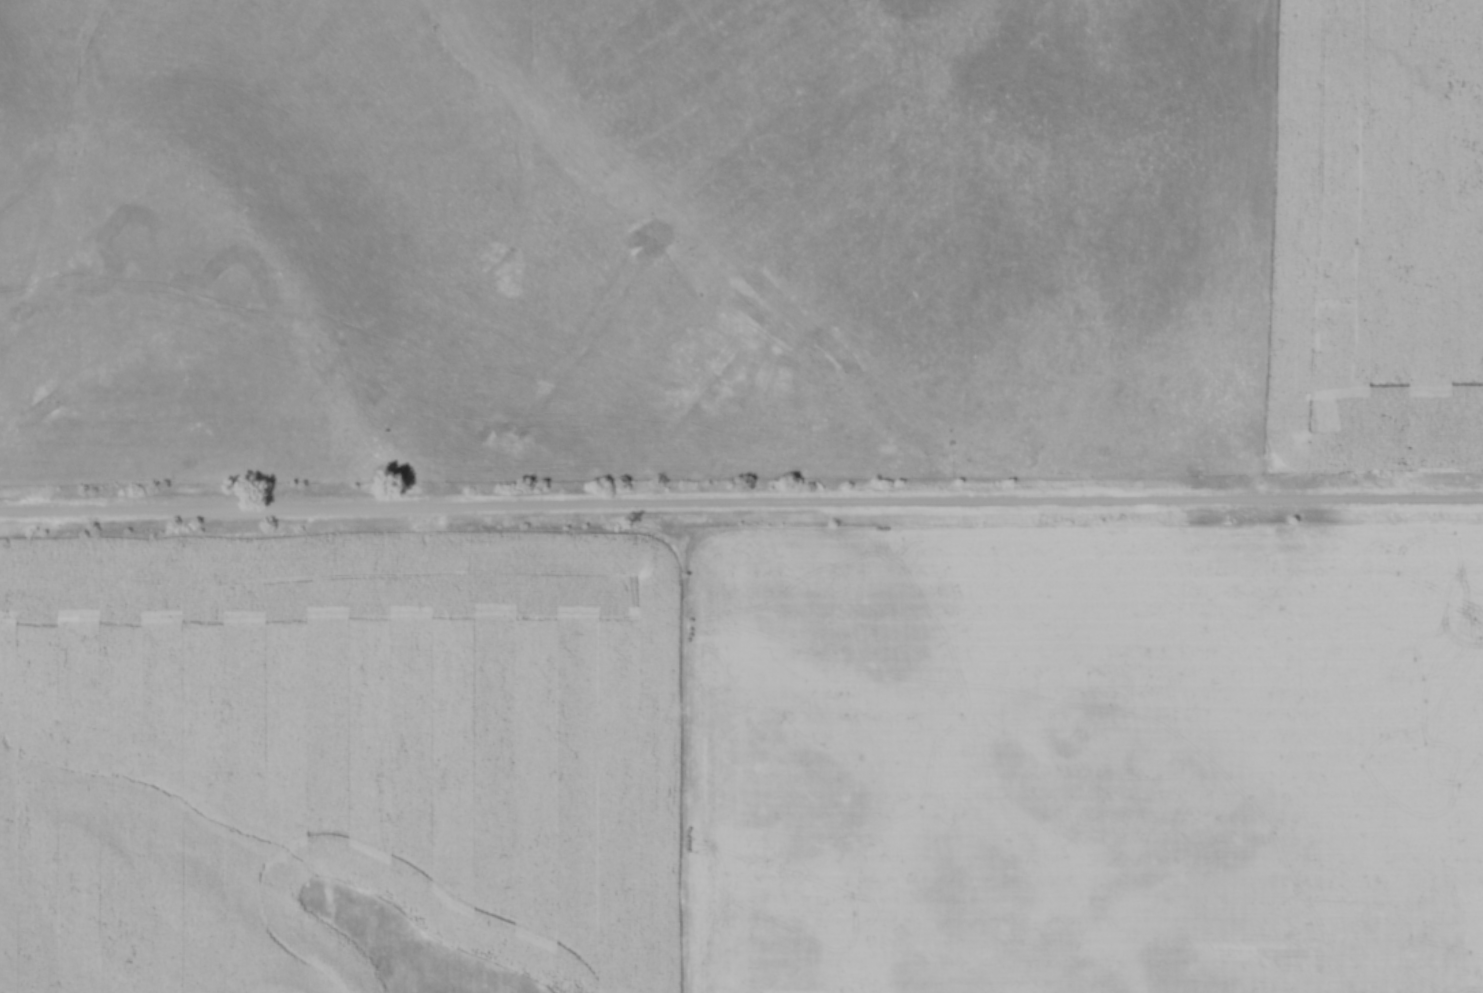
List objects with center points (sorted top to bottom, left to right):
crop: (1376, 235)
road: (741, 507)
crop: (341, 766)

